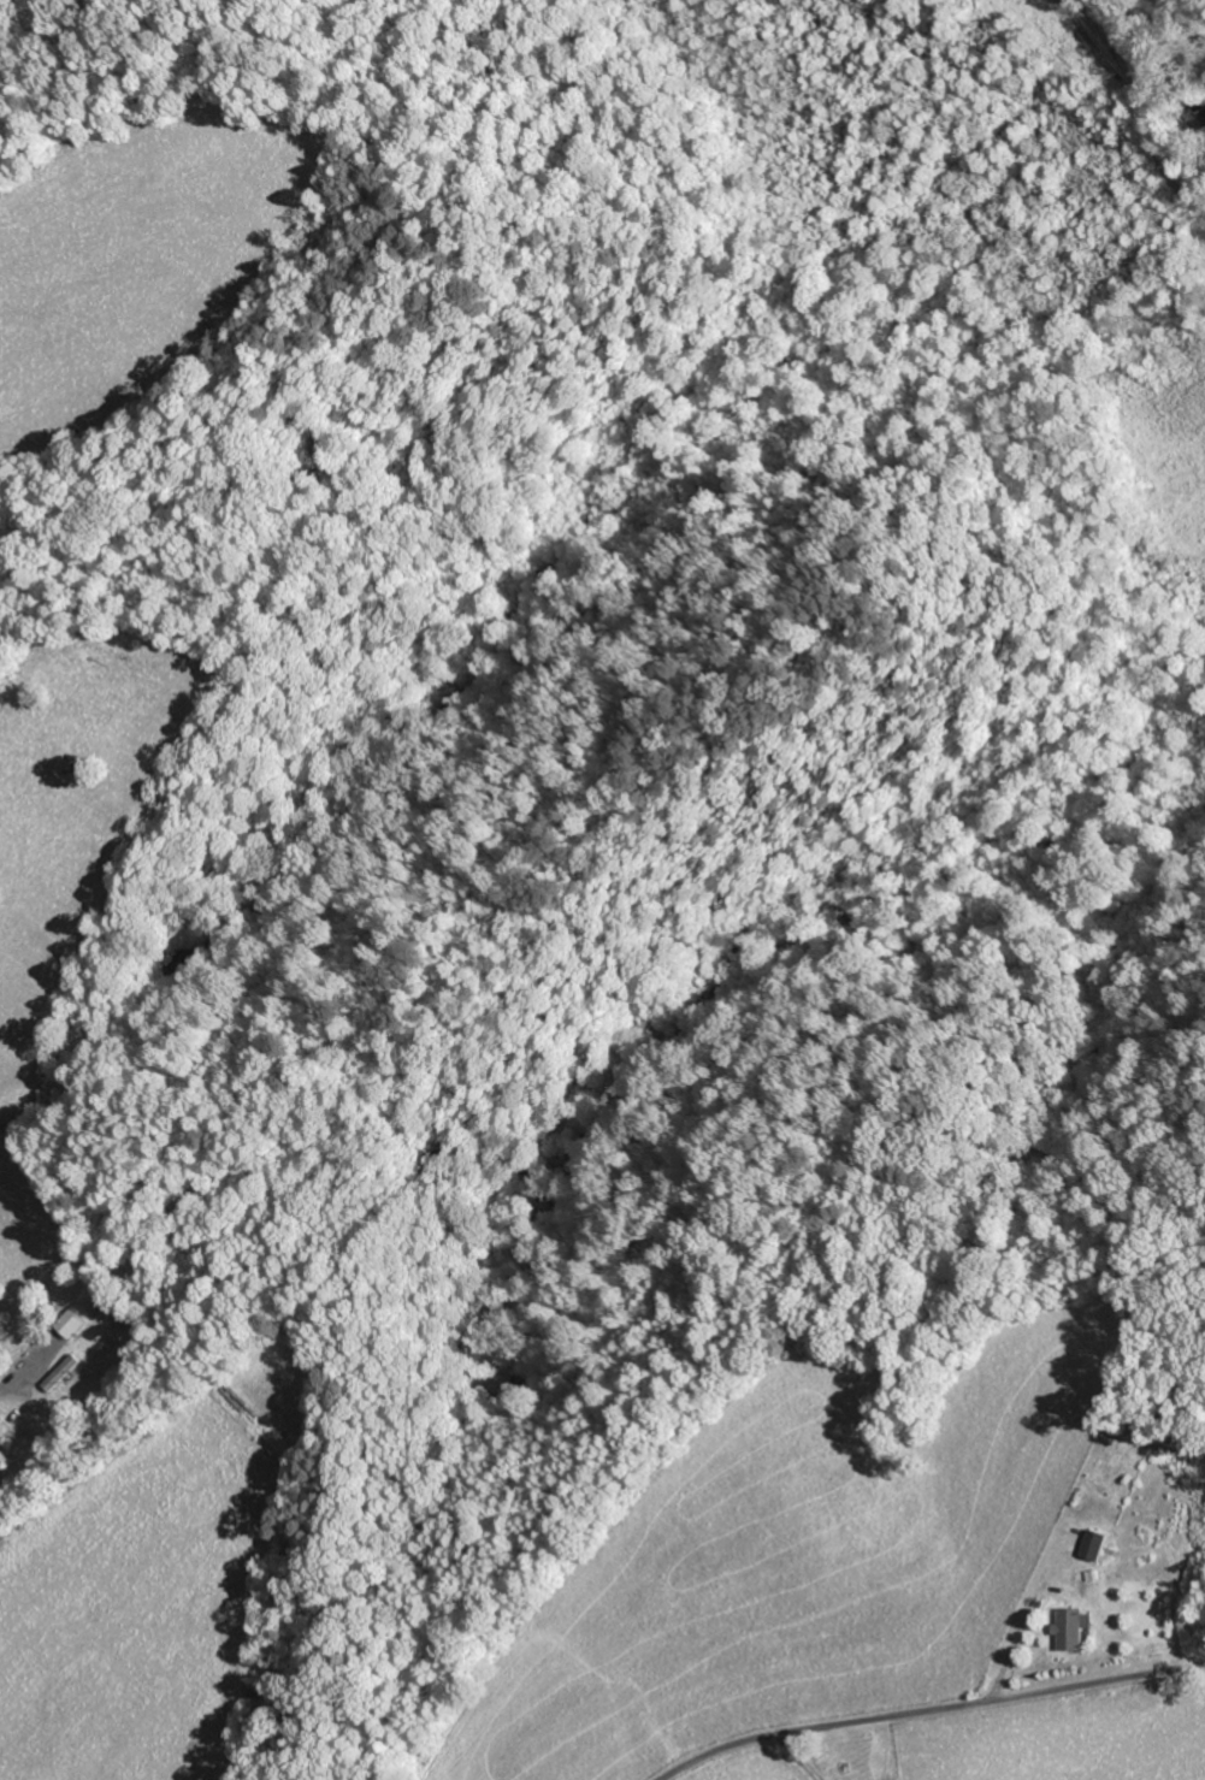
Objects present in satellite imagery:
building: (61, 1373)
building: (1095, 1545)
building: (1073, 1628)
road: (819, 1728)

